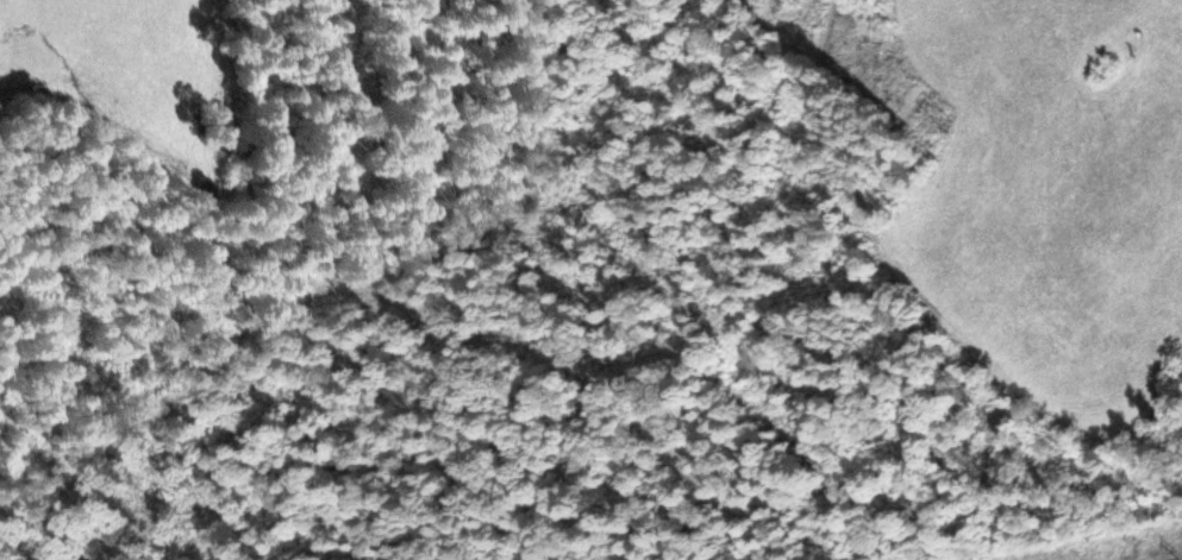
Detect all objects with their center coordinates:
power tower: (1175, 548)

